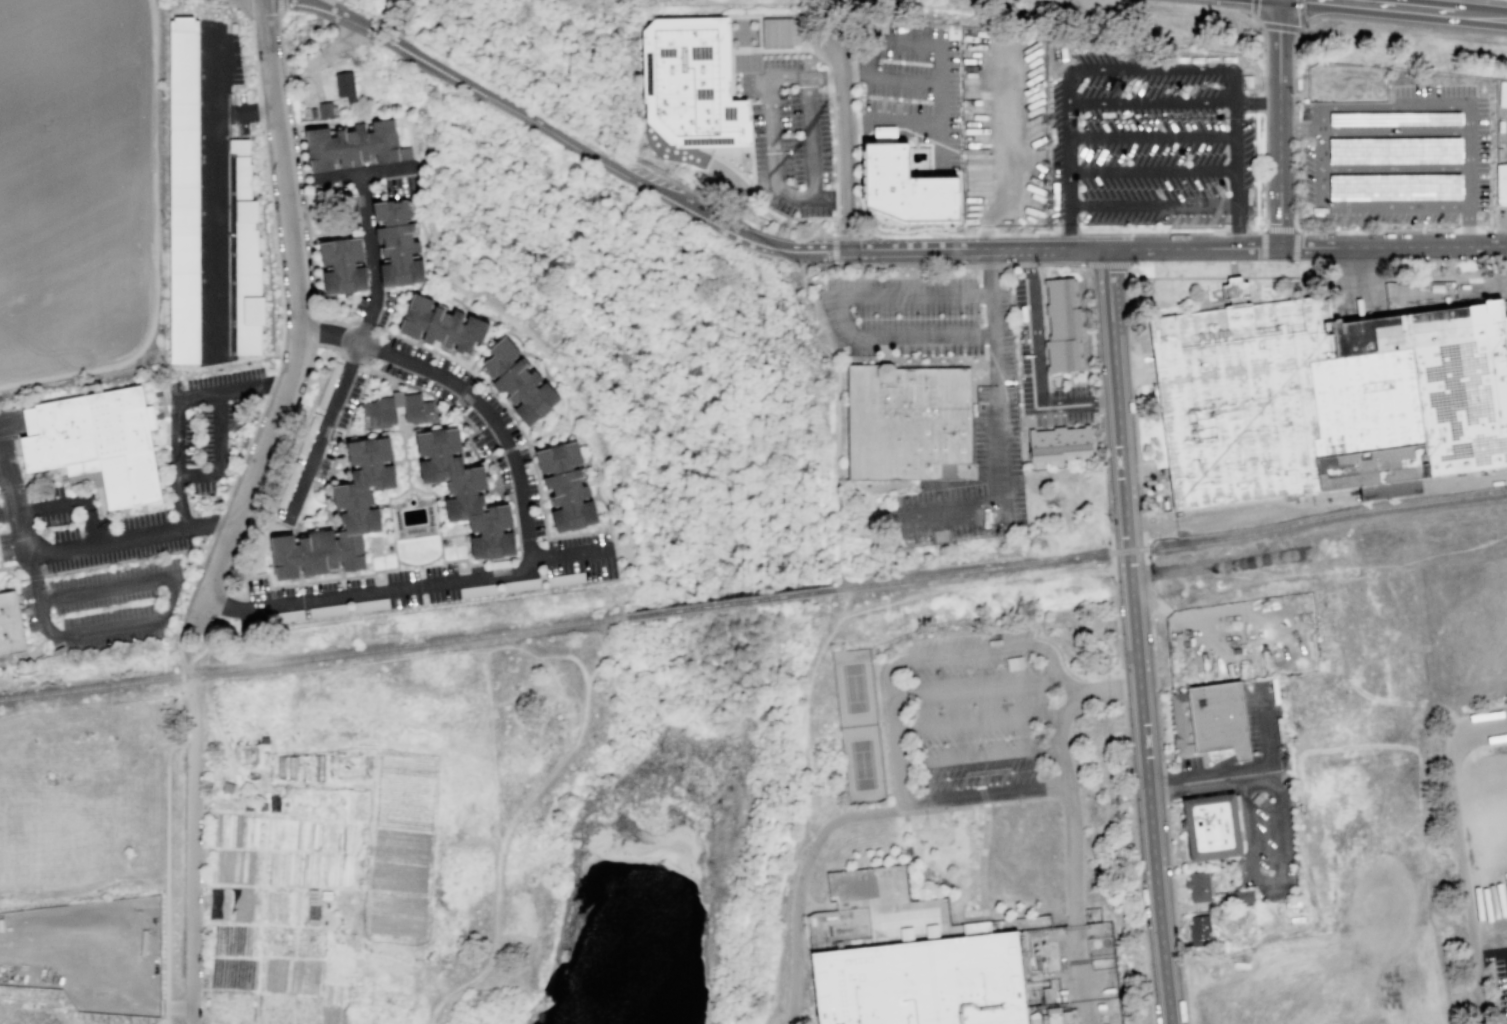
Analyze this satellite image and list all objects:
road: (308, 0)
road: (279, 6)
road: (1253, 8)
road: (1408, 10)
road: (1249, 13)
road: (1301, 14)
road: (1281, 26)
building: (773, 30)
road: (379, 31)
road: (937, 46)
road: (328, 50)
road: (817, 57)
road: (1265, 58)
road: (215, 69)
road: (431, 70)
road: (1292, 71)
road: (828, 75)
road: (853, 76)
parking lot: (237, 81)
park: (1347, 82)
park: (1342, 83)
road: (1229, 84)
building: (345, 86)
building: (688, 86)
building: (1503, 93)
road: (854, 98)
road: (1253, 102)
road: (1264, 105)
building: (323, 109)
parking lot: (785, 112)
road: (382, 113)
road: (1320, 117)
road: (290, 123)
road: (1279, 123)
road: (542, 124)
parking lot: (783, 125)
road: (856, 126)
road: (1293, 128)
road: (1299, 129)
road: (833, 135)
road: (1069, 137)
road: (1152, 137)
parking lot: (1148, 138)
road: (846, 142)
building: (356, 145)
road: (938, 145)
road: (1320, 149)
road: (1006, 154)
road: (1236, 155)
building: (700, 158)
road: (1467, 158)
parking lot: (1397, 163)
road: (1152, 170)
building: (977, 171)
road: (363, 172)
road: (614, 172)
road: (771, 175)
road: (1264, 181)
building: (905, 182)
road: (858, 183)
crop: (80, 184)
building: (1501, 185)
road: (1320, 186)
building: (184, 189)
road: (835, 197)
road: (826, 198)
road: (215, 203)
road: (1151, 205)
road: (835, 224)
road: (1242, 225)
road: (1069, 226)
road: (1233, 226)
road: (911, 229)
road: (1296, 229)
road: (1467, 229)
road: (1495, 229)
road: (1467, 230)
road: (1328, 231)
road: (1237, 232)
road: (1153, 233)
road: (948, 234)
road: (1027, 234)
road: (1067, 234)
road: (985, 235)
road: (731, 236)
road: (751, 236)
road: (833, 242)
building: (396, 243)
road: (1262, 244)
road: (1393, 245)
road: (1228, 246)
road: (976, 247)
road: (1193, 247)
road: (840, 249)
road: (153, 254)
road: (834, 255)
building: (247, 260)
road: (907, 262)
building: (343, 264)
road: (1106, 264)
street lamp: (879, 265)
road: (989, 265)
road: (1008, 265)
road: (1027, 265)
road: (1232, 267)
road: (1263, 268)
road: (1296, 268)
road: (1500, 274)
road: (1233, 275)
road: (1438, 275)
road: (1293, 276)
road: (1361, 276)
road: (1135, 277)
road: (1175, 277)
road: (1235, 277)
road: (1365, 277)
road: (1483, 286)
road: (1140, 305)
road: (841, 308)
road: (304, 315)
building: (1061, 323)
building: (442, 324)
road: (357, 351)
road: (532, 353)
road: (1038, 364)
parking lot: (1044, 368)
building: (518, 381)
building: (1325, 396)
road: (178, 406)
parking lot: (1001, 407)
building: (397, 409)
building: (906, 420)
road: (837, 434)
building: (98, 444)
building: (1059, 444)
road: (220, 453)
road: (999, 462)
road: (5, 469)
road: (11, 469)
railway: (1463, 477)
road: (1469, 481)
building: (565, 485)
railway: (1388, 487)
building: (1389, 488)
parking lot: (4, 490)
road: (1391, 492)
building: (464, 493)
road: (74, 495)
railway: (1316, 497)
road: (10, 514)
road: (1239, 515)
building: (340, 517)
road: (114, 535)
road: (1317, 540)
railway: (1170, 544)
road: (536, 547)
road: (574, 553)
road: (1112, 564)
parking lot: (102, 571)
road: (975, 580)
railway: (729, 602)
road: (149, 620)
road: (612, 623)
building: (10, 630)
road: (1135, 636)
parking lot: (1242, 641)
road: (1152, 643)
road: (179, 651)
railway: (312, 656)
road: (925, 656)
road: (972, 686)
park: (854, 687)
road: (806, 705)
parking lot: (977, 715)
building: (1209, 719)
parking lot: (1265, 720)
road: (981, 721)
road: (978, 756)
road: (886, 759)
park: (862, 763)
road: (985, 772)
road: (1253, 772)
road: (1068, 776)
road: (983, 779)
road: (1478, 794)
road: (982, 796)
road: (976, 805)
road: (373, 808)
road: (896, 809)
road: (846, 815)
road: (517, 817)
building: (1212, 827)
parking lot: (1268, 837)
road: (1461, 856)
road: (923, 860)
road: (192, 862)
road: (981, 862)
road: (166, 875)
road: (1269, 882)
building: (1198, 885)
road: (962, 896)
building: (1242, 896)
crop: (251, 909)
road: (781, 912)
building: (1199, 930)
building: (932, 931)
road: (1080, 973)
parking lot: (1501, 980)
building: (922, 982)

